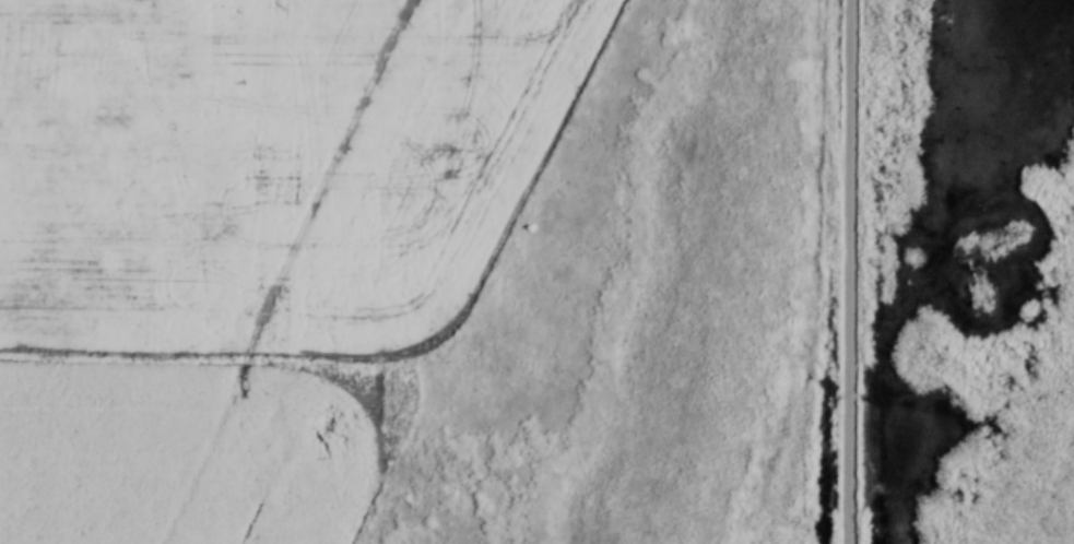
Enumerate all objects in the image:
road: (850, 272)

